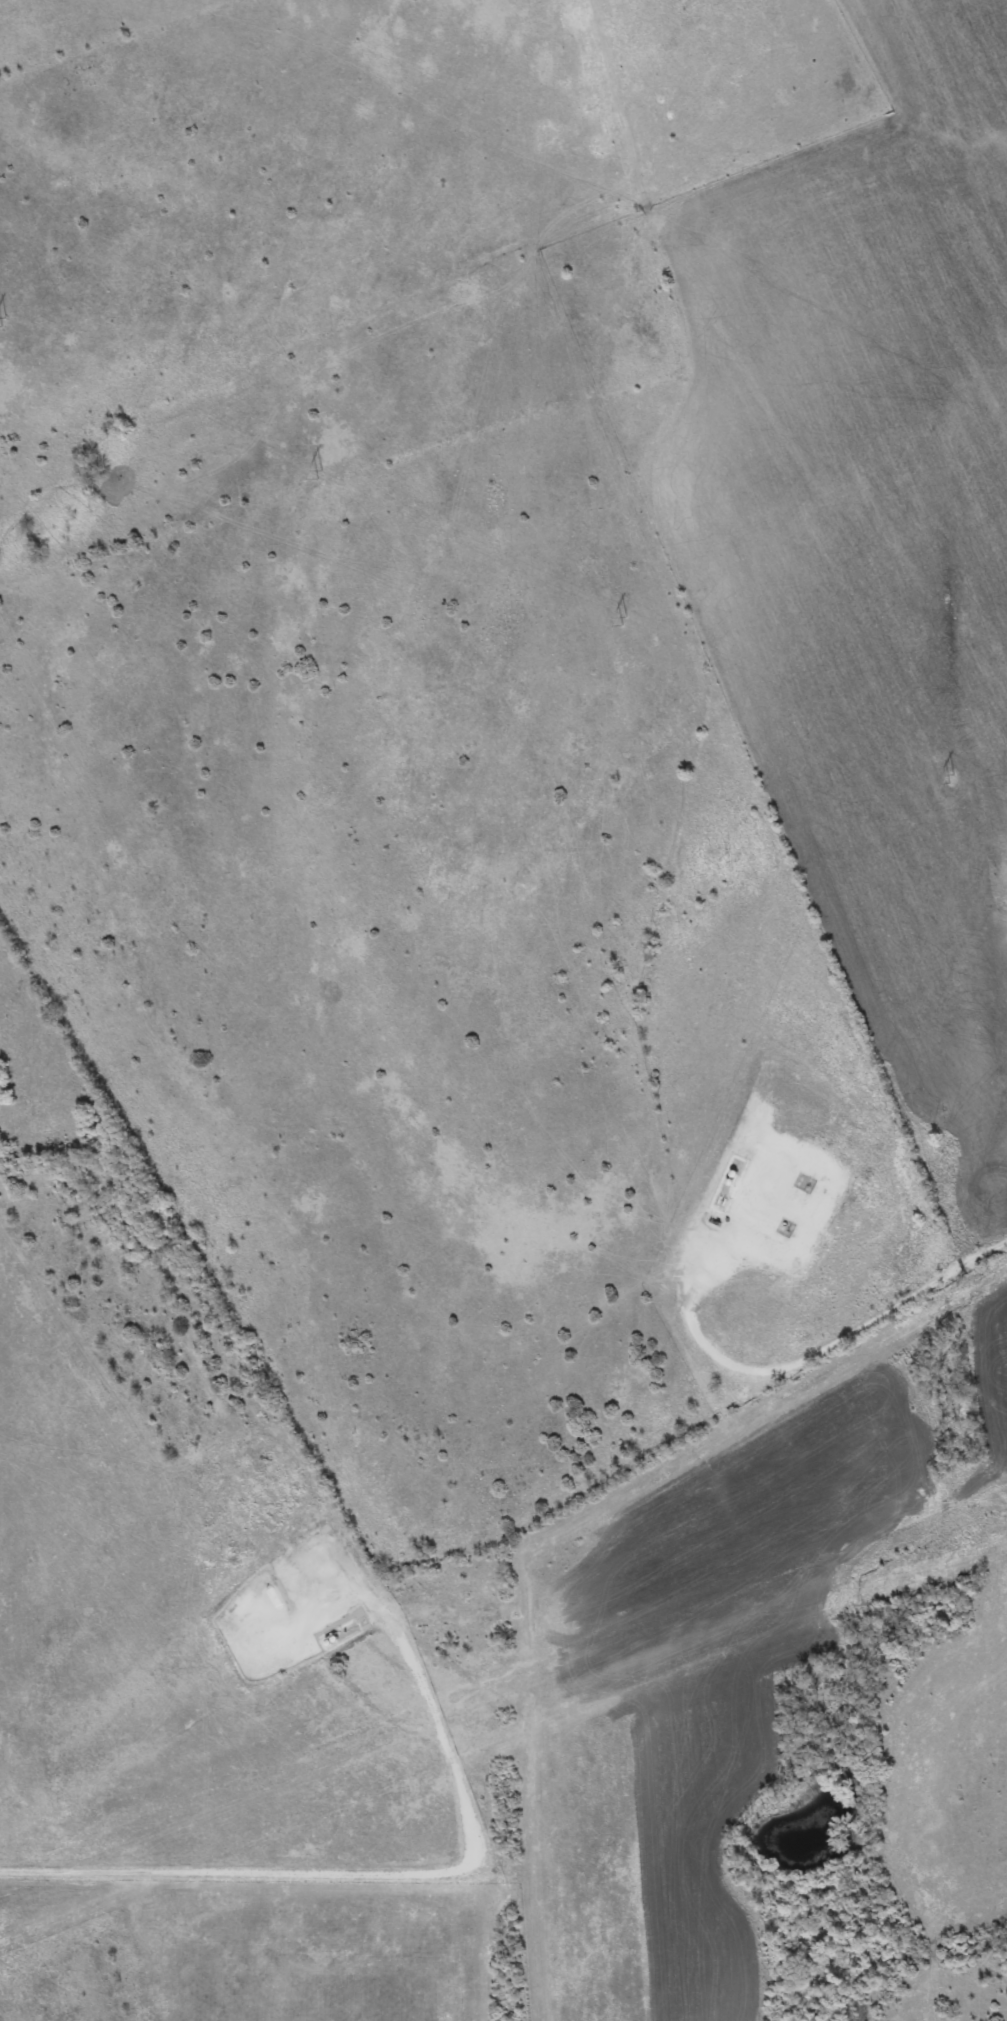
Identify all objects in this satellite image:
road: (376, 1871)

